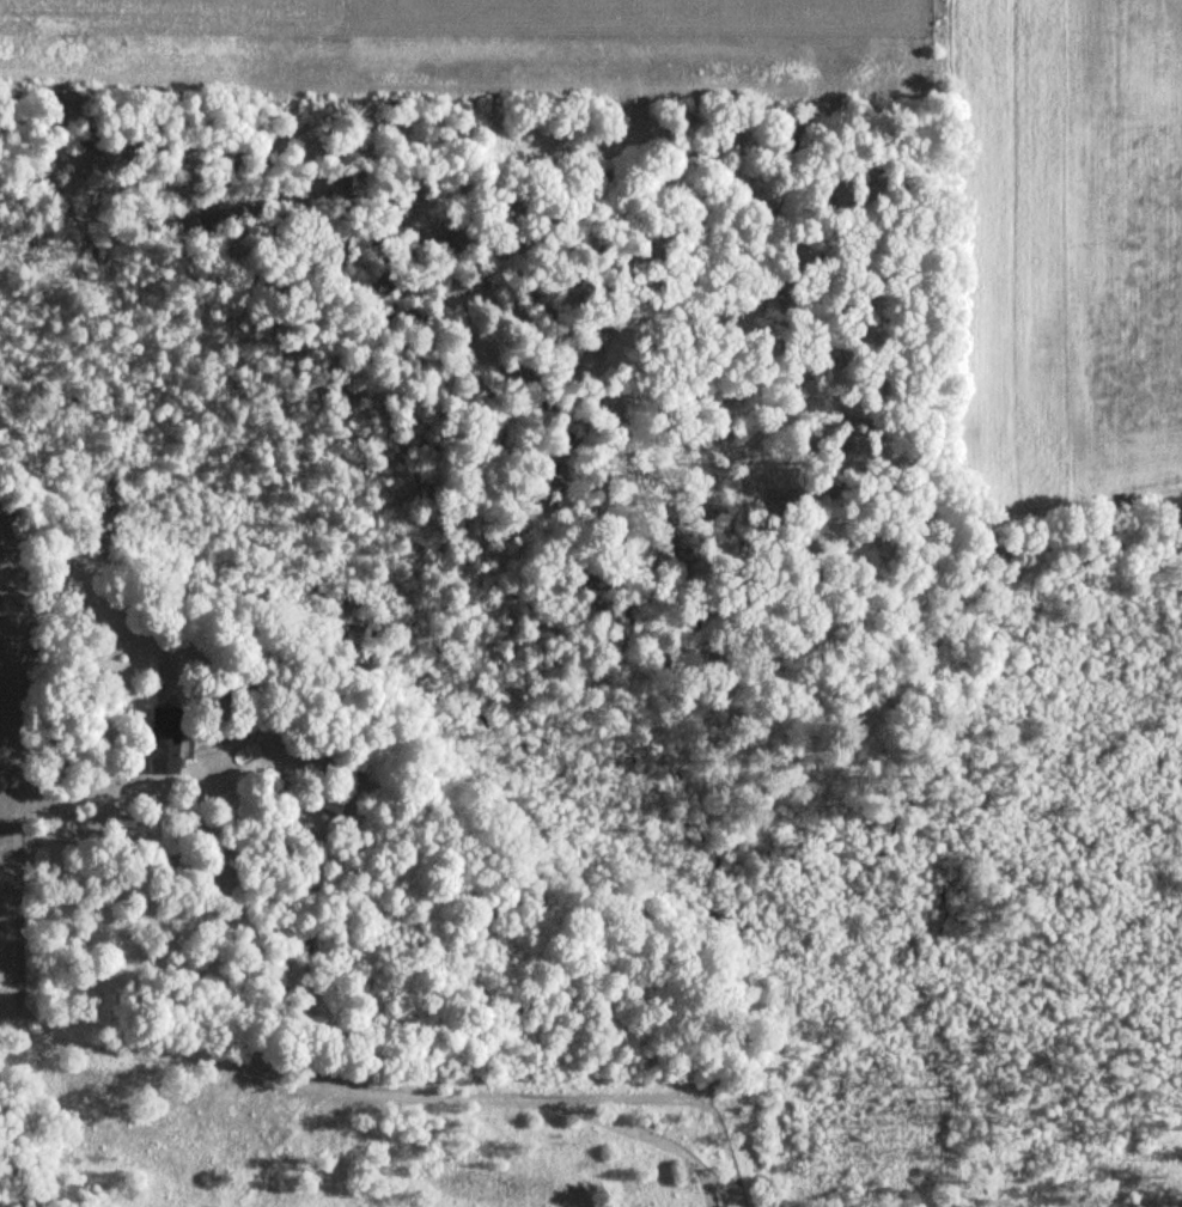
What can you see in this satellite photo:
road: (95, 595)
building: (165, 742)

